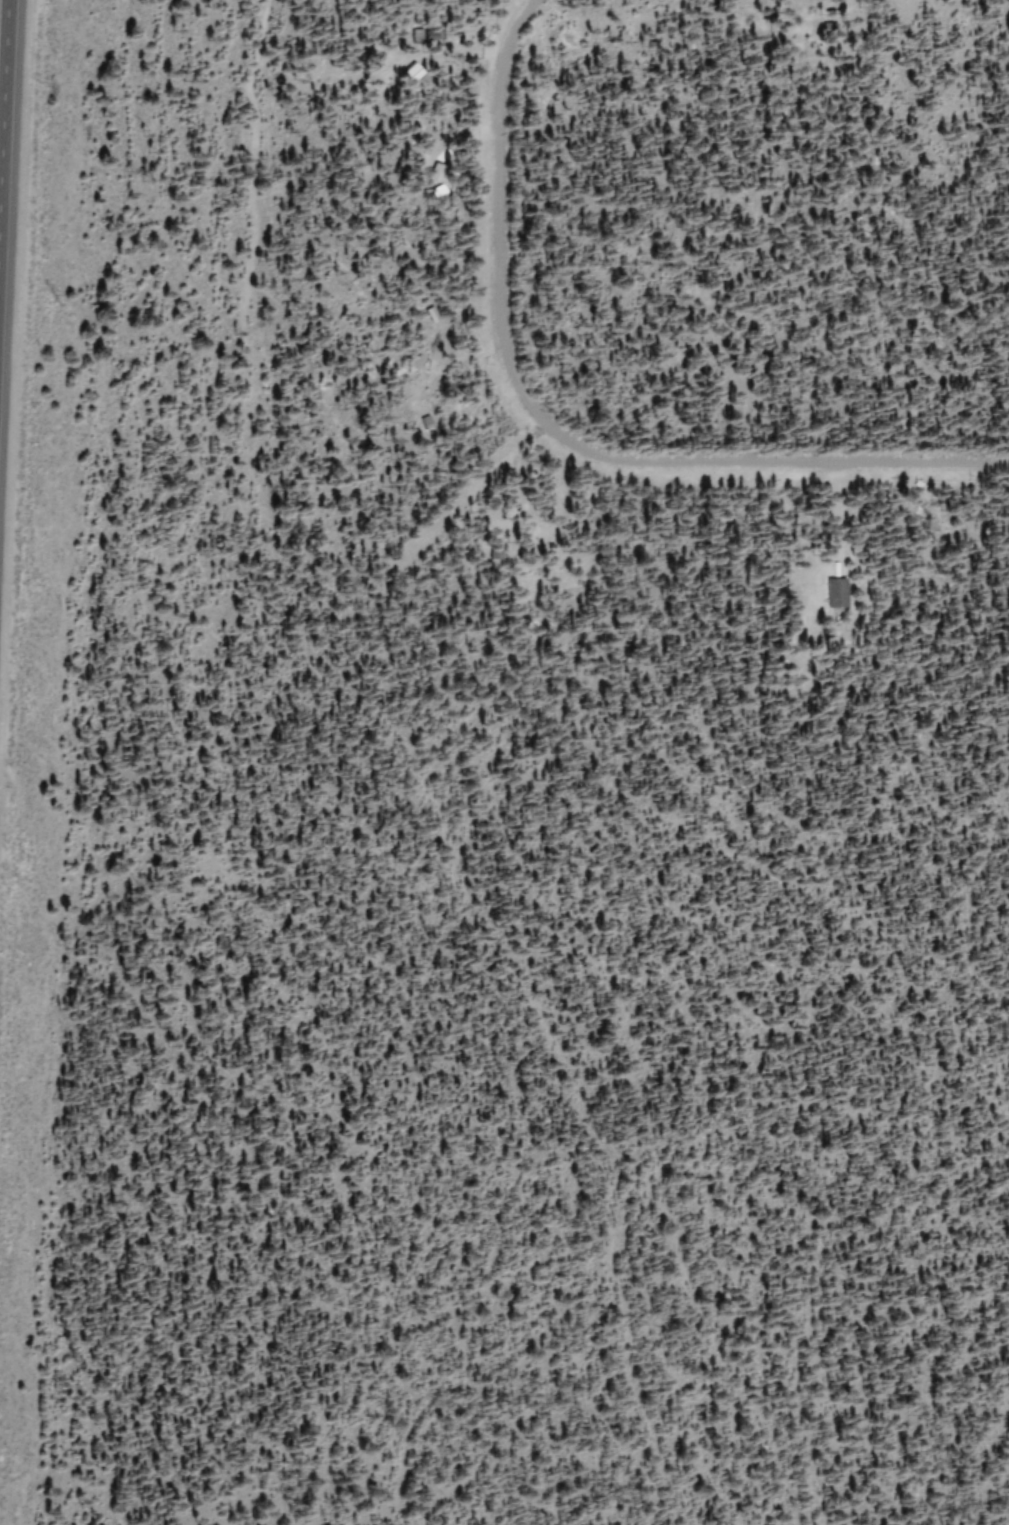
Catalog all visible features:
road: (2, 58)
road: (551, 431)
building: (830, 593)

